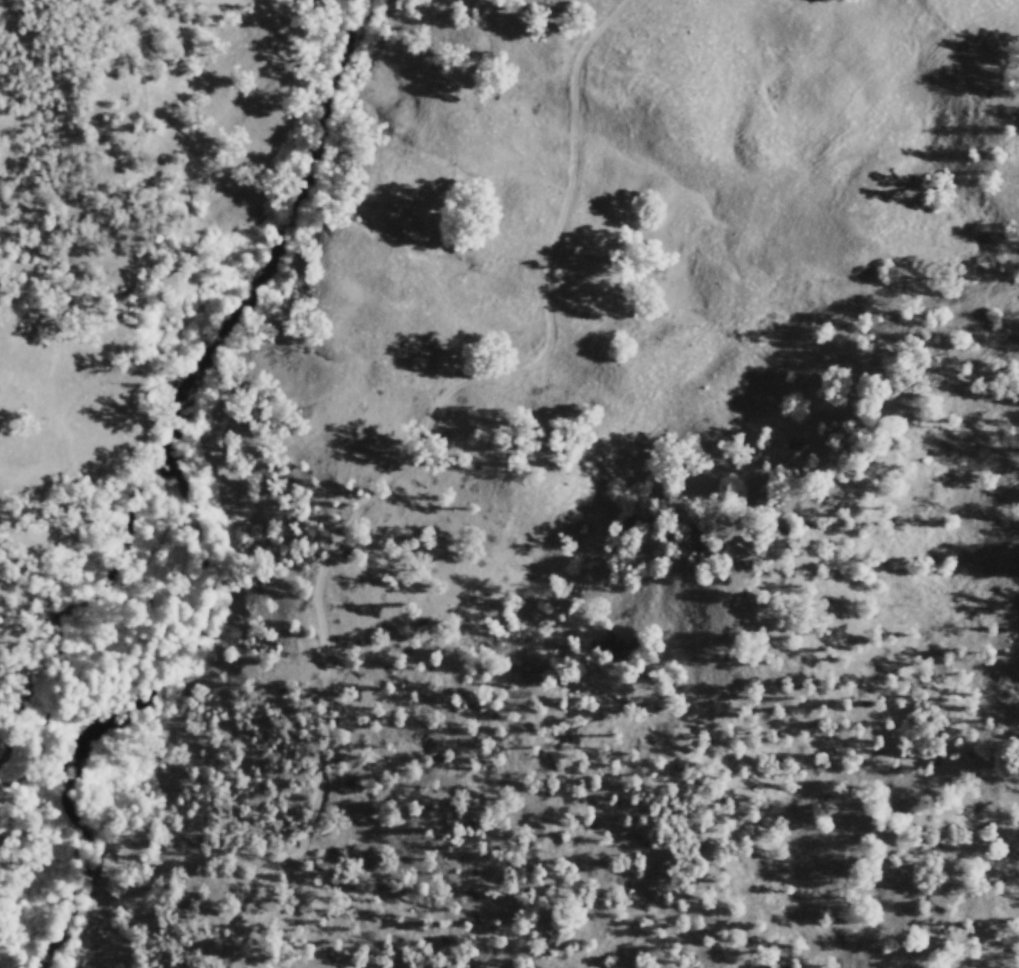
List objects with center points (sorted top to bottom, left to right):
road: (405, 465)

